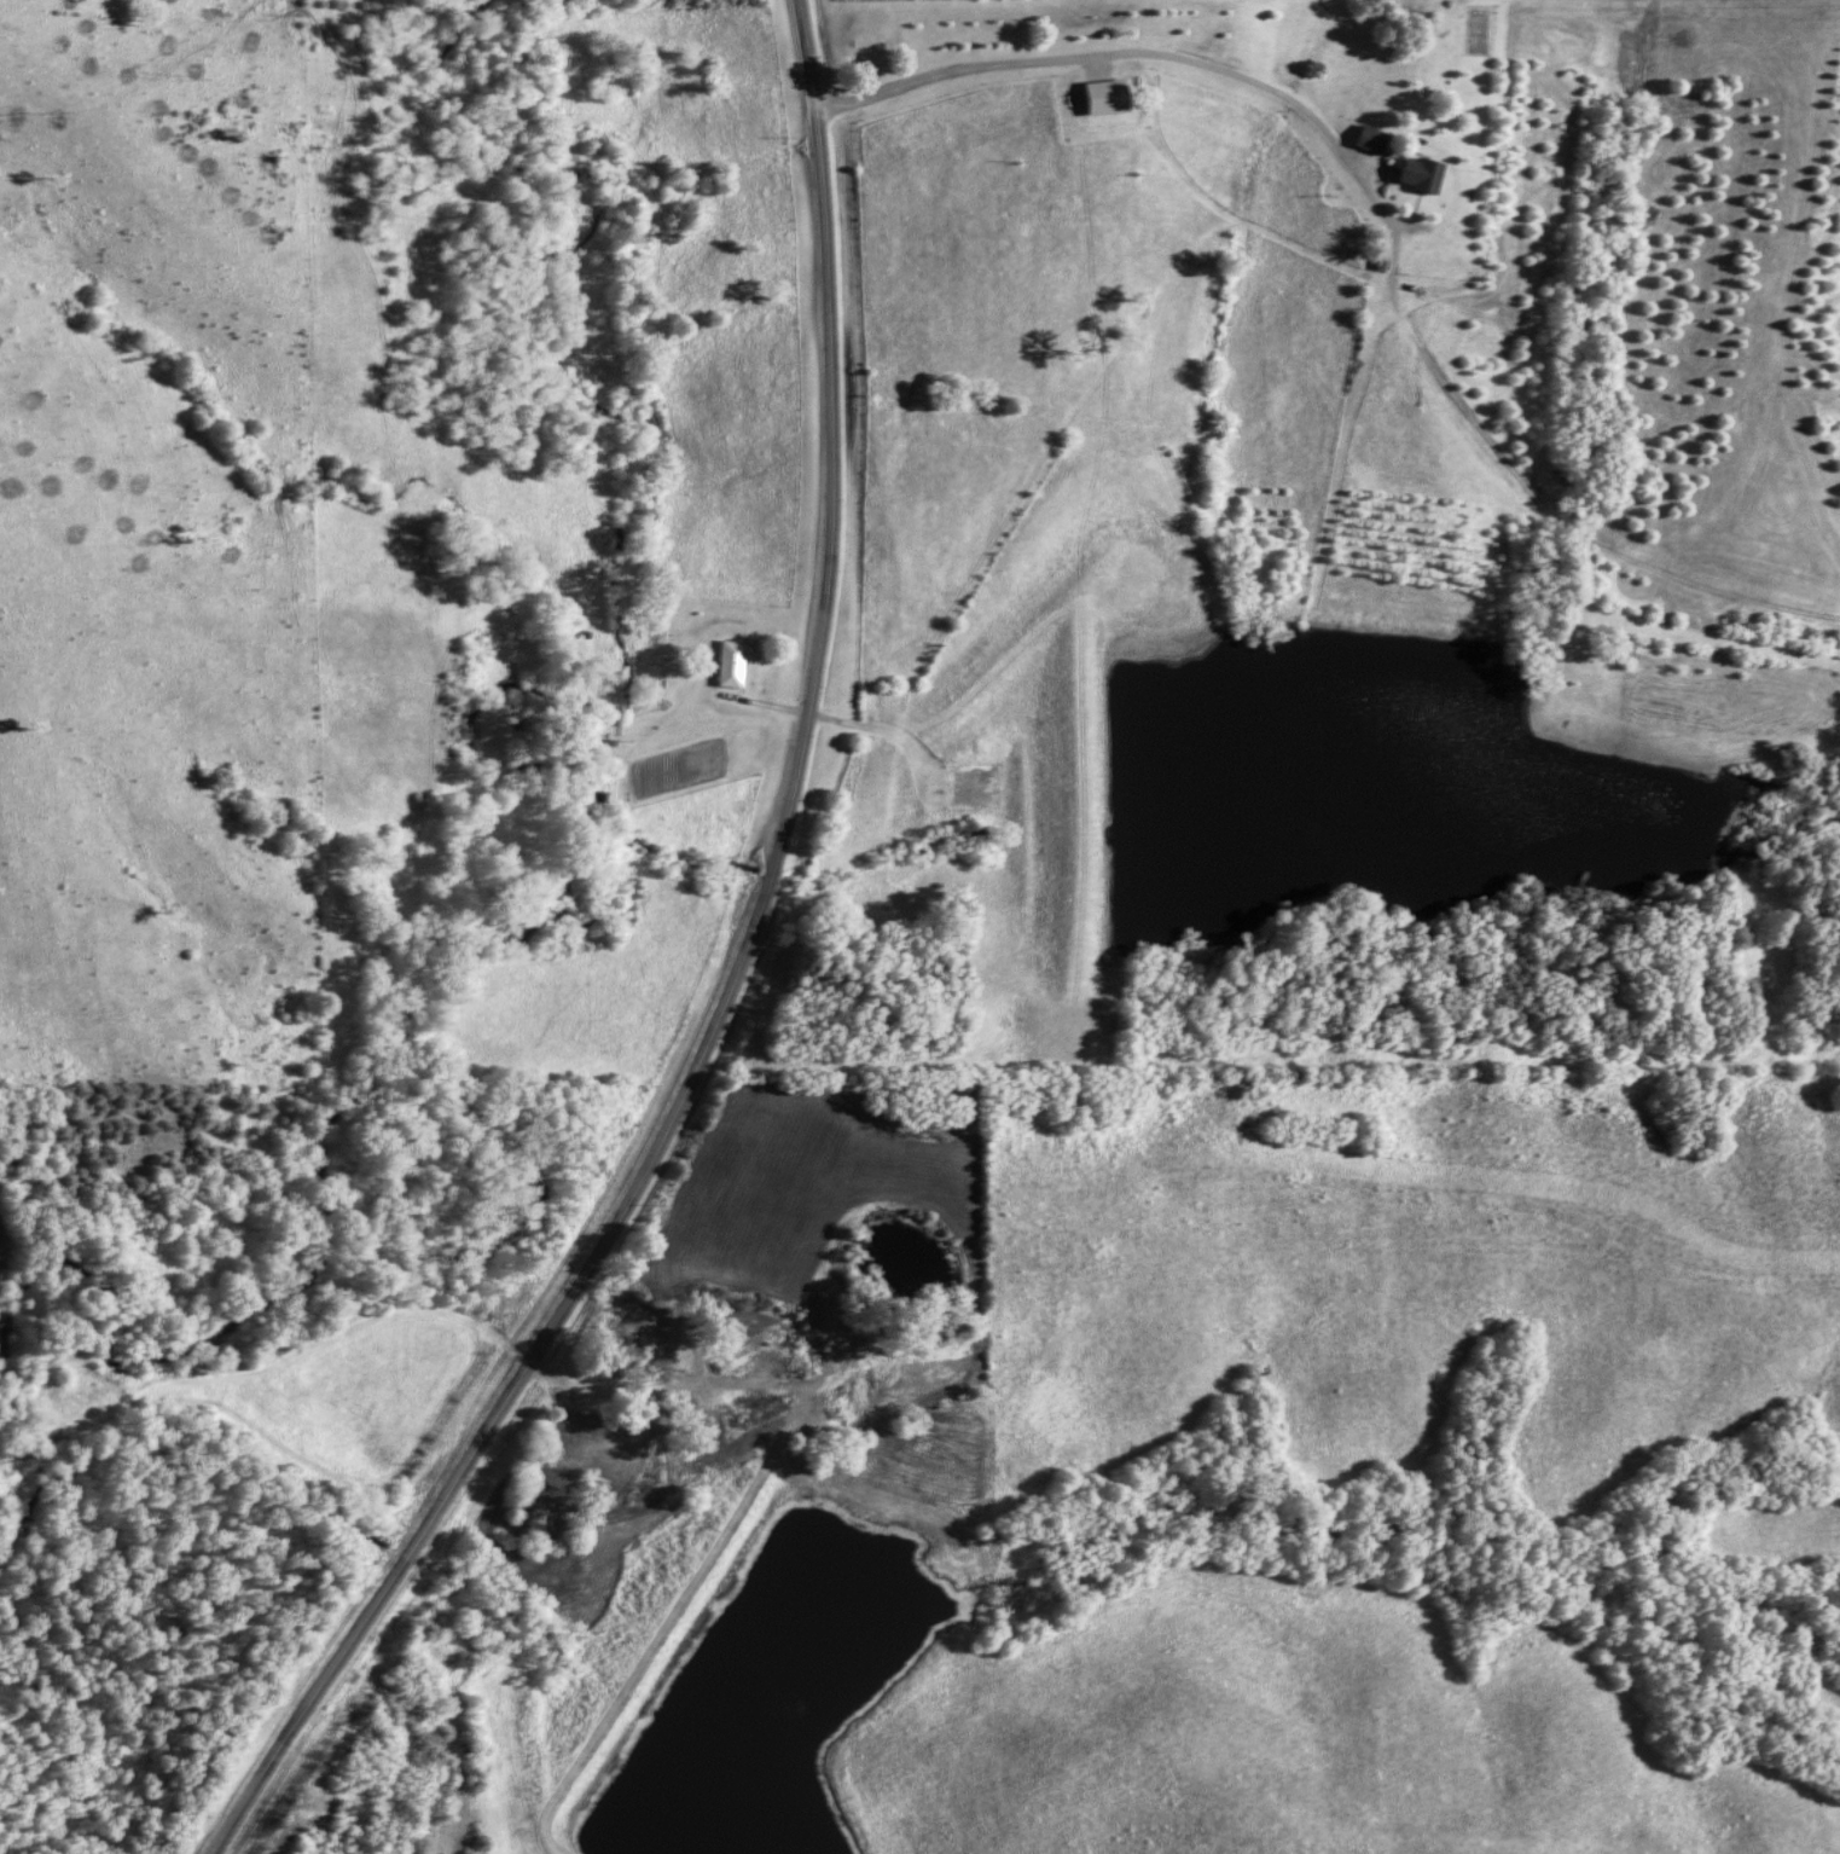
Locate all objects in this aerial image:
road: (1136, 59)
building: (1098, 97)
building: (1366, 140)
building: (1412, 174)
building: (725, 664)
road: (729, 991)
building: (643, 1328)
building: (946, 1328)
road: (608, 1385)
building: (552, 1497)
building: (429, 1853)

